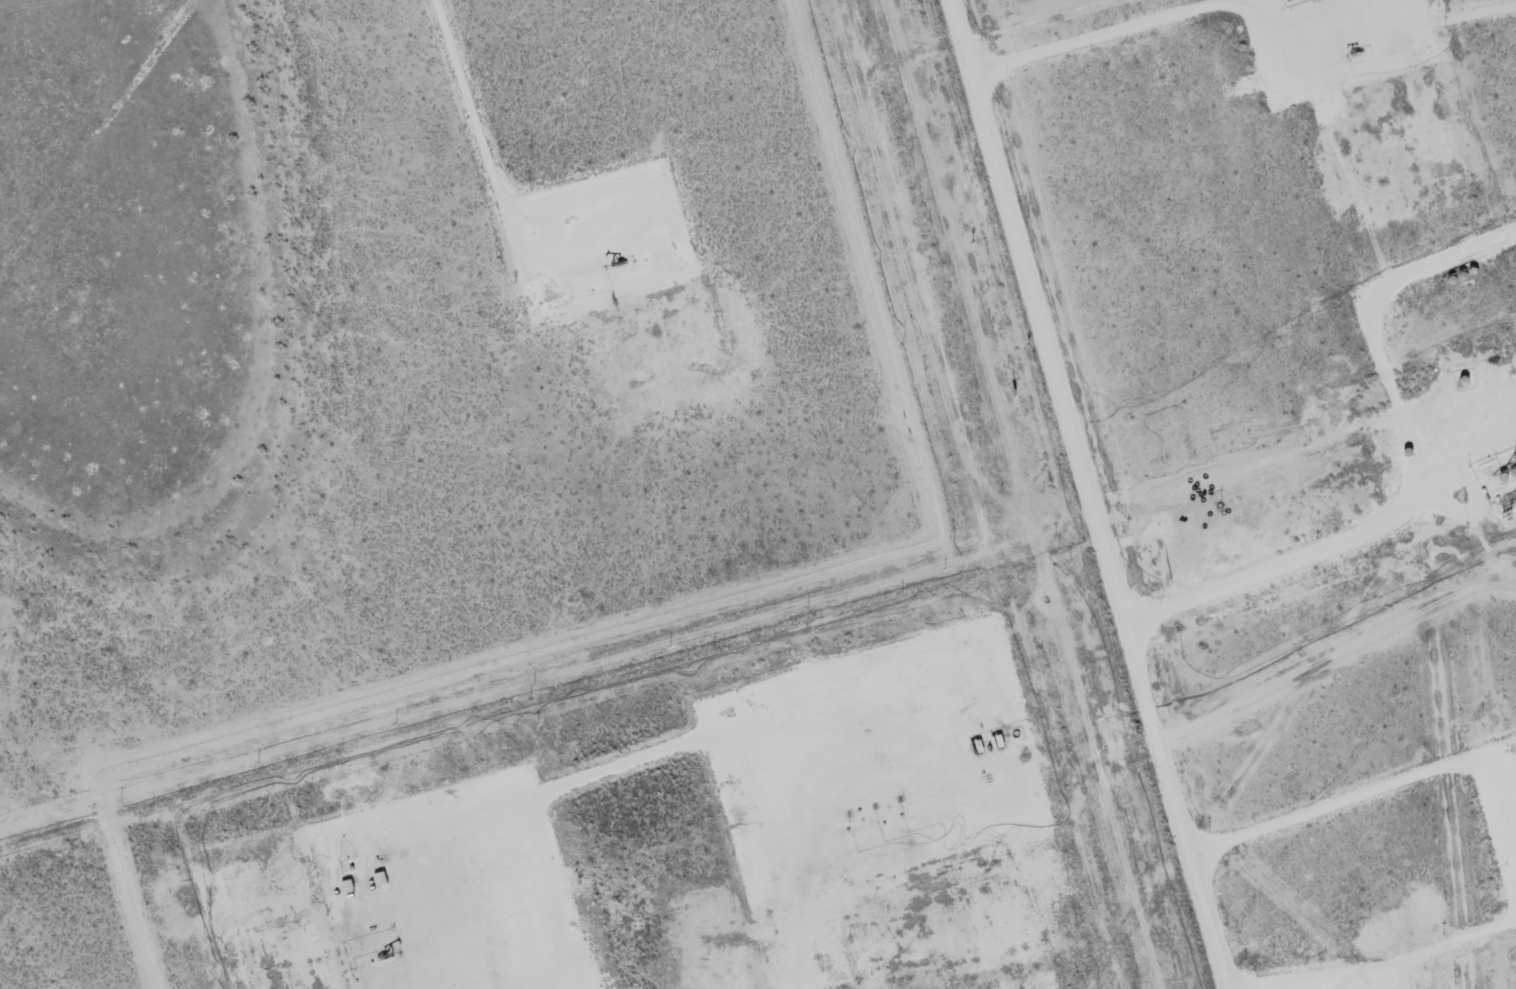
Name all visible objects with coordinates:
petroleum well: (1357, 58)
petroleum well: (621, 258)
road: (1079, 494)

